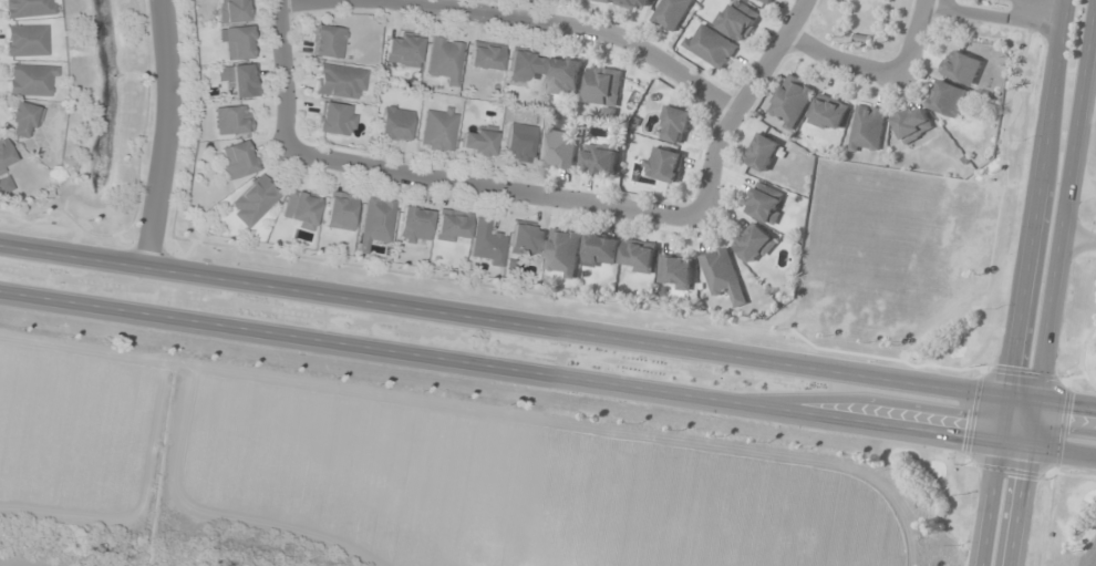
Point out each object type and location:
building: (602, 0)
road: (1061, 0)
road: (290, 1)
building: (767, 1)
building: (631, 3)
road: (1095, 7)
building: (27, 8)
building: (234, 11)
building: (671, 13)
road: (992, 14)
building: (736, 20)
road: (571, 23)
park: (860, 24)
road: (1093, 25)
road: (911, 40)
building: (24, 41)
building: (327, 41)
building: (238, 43)
building: (710, 48)
building: (402, 50)
building: (484, 55)
building: (444, 59)
road: (837, 62)
building: (523, 64)
building: (961, 68)
road: (282, 72)
building: (563, 76)
building: (30, 80)
building: (240, 81)
building: (339, 81)
building: (603, 88)
building: (948, 100)
building: (790, 102)
road: (738, 103)
building: (828, 114)
building: (23, 119)
building: (335, 119)
building: (230, 120)
building: (394, 124)
building: (912, 124)
building: (674, 125)
building: (437, 128)
building: (867, 130)
road: (165, 134)
building: (477, 141)
building: (518, 143)
building: (559, 150)
building: (761, 153)
building: (6, 157)
building: (599, 159)
building: (237, 161)
building: (662, 165)
road: (492, 184)
road: (1081, 184)
building: (4, 185)
building: (254, 200)
building: (765, 203)
building: (300, 209)
building: (340, 210)
road: (1032, 222)
building: (375, 223)
road: (1058, 223)
building: (413, 225)
building: (452, 226)
building: (526, 239)
building: (486, 245)
building: (755, 245)
building: (600, 251)
building: (562, 254)
building: (638, 257)
building: (675, 272)
building: (722, 276)
road: (547, 327)
road: (548, 373)
traffic signals: (1004, 394)
traffic signals: (1032, 399)
traffic signals: (997, 443)
traffic signals: (1025, 447)
road: (988, 504)
road: (1015, 506)

